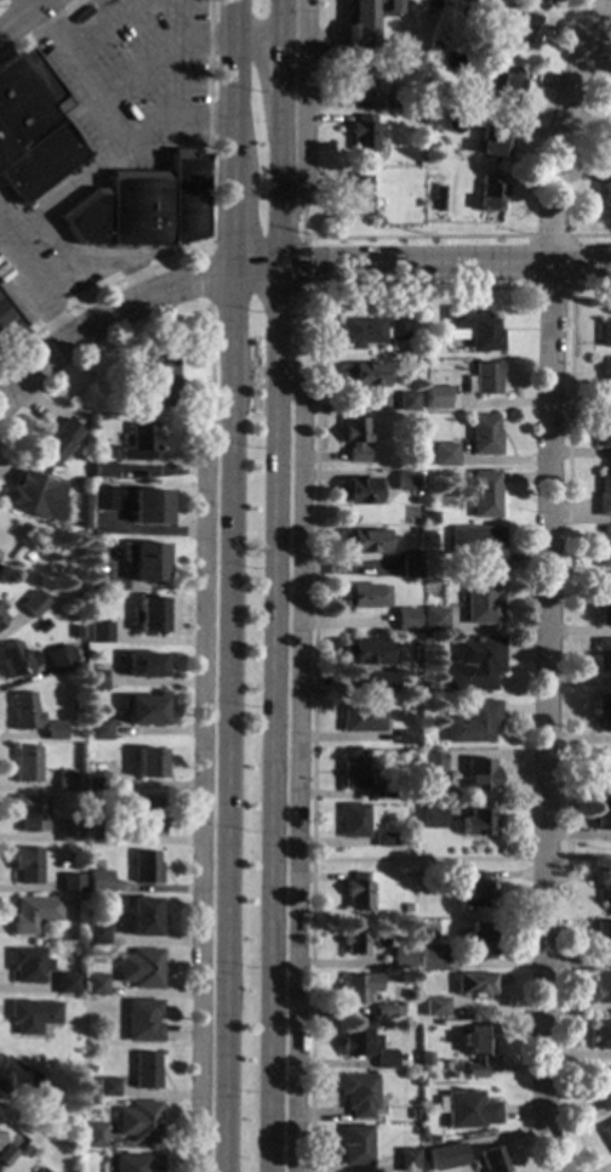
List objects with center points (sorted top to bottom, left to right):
road: (30, 1)
building: (466, 1)
building: (539, 2)
building: (359, 12)
road: (18, 13)
road: (97, 24)
road: (38, 29)
building: (523, 32)
road: (256, 41)
building: (430, 46)
road: (160, 52)
road: (176, 57)
building: (484, 58)
parking lot: (132, 73)
building: (359, 76)
building: (499, 86)
building: (389, 101)
road: (112, 109)
road: (302, 113)
building: (33, 126)
building: (359, 133)
building: (490, 141)
building: (610, 147)
building: (442, 155)
building: (418, 161)
road: (68, 186)
building: (606, 192)
building: (358, 193)
building: (487, 193)
building: (435, 205)
building: (141, 207)
road: (570, 234)
road: (590, 234)
road: (252, 235)
road: (393, 235)
road: (58, 237)
road: (206, 243)
road: (97, 260)
road: (301, 263)
road: (445, 266)
road: (206, 273)
road: (32, 286)
road: (301, 292)
road: (127, 303)
building: (2, 315)
building: (470, 329)
building: (359, 331)
building: (604, 332)
building: (394, 334)
road: (209, 359)
building: (362, 375)
building: (481, 379)
building: (155, 381)
building: (605, 381)
road: (570, 382)
building: (434, 397)
building: (405, 402)
building: (604, 433)
building: (481, 434)
building: (353, 438)
building: (55, 442)
building: (138, 444)
building: (444, 454)
building: (99, 470)
building: (402, 482)
building: (359, 490)
building: (97, 493)
building: (482, 494)
building: (604, 494)
building: (34, 496)
building: (413, 500)
building: (148, 506)
building: (429, 517)
road: (579, 518)
building: (361, 541)
building: (476, 546)
building: (604, 547)
building: (143, 561)
building: (407, 568)
road: (547, 584)
road: (223, 585)
road: (276, 586)
building: (362, 596)
building: (604, 602)
building: (33, 604)
building: (479, 604)
building: (0, 607)
building: (149, 614)
building: (1, 618)
building: (432, 619)
building: (404, 620)
road: (314, 624)
building: (98, 632)
building: (401, 638)
building: (362, 653)
building: (603, 655)
building: (15, 660)
building: (59, 660)
building: (472, 664)
building: (144, 666)
building: (95, 681)
building: (378, 683)
building: (24, 711)
building: (142, 711)
building: (603, 711)
building: (361, 718)
building: (470, 722)
building: (98, 729)
building: (53, 730)
building: (405, 738)
building: (432, 762)
building: (148, 763)
building: (25, 764)
road: (296, 772)
building: (603, 772)
building: (353, 773)
building: (479, 774)
building: (65, 780)
building: (96, 780)
road: (198, 786)
building: (383, 791)
building: (424, 792)
building: (29, 813)
building: (145, 815)
building: (601, 815)
building: (432, 818)
building: (353, 820)
building: (475, 823)
building: (96, 830)
building: (68, 831)
building: (384, 838)
road: (452, 860)
building: (25, 864)
building: (144, 866)
building: (98, 881)
building: (603, 881)
building: (70, 883)
building: (358, 891)
building: (475, 891)
building: (33, 914)
building: (144, 916)
building: (96, 933)
building: (603, 934)
building: (354, 940)
building: (478, 940)
building: (430, 956)
building: (401, 957)
building: (28, 965)
building: (139, 968)
building: (65, 983)
building: (474, 984)
building: (95, 985)
building: (358, 986)
building: (601, 986)
building: (435, 1006)
building: (387, 1011)
building: (32, 1014)
building: (141, 1020)
building: (600, 1034)
building: (355, 1041)
building: (475, 1046)
building: (423, 1057)
building: (384, 1059)
building: (144, 1070)
building: (15, 1075)
building: (107, 1087)
building: (603, 1088)
building: (356, 1093)
building: (464, 1110)
building: (412, 1114)
building: (138, 1121)
building: (606, 1132)
building: (92, 1134)
building: (428, 1139)
building: (354, 1145)
building: (6, 1155)
building: (444, 1155)
building: (487, 1155)
building: (407, 1160)
building: (136, 1162)
building: (40, 1170)

